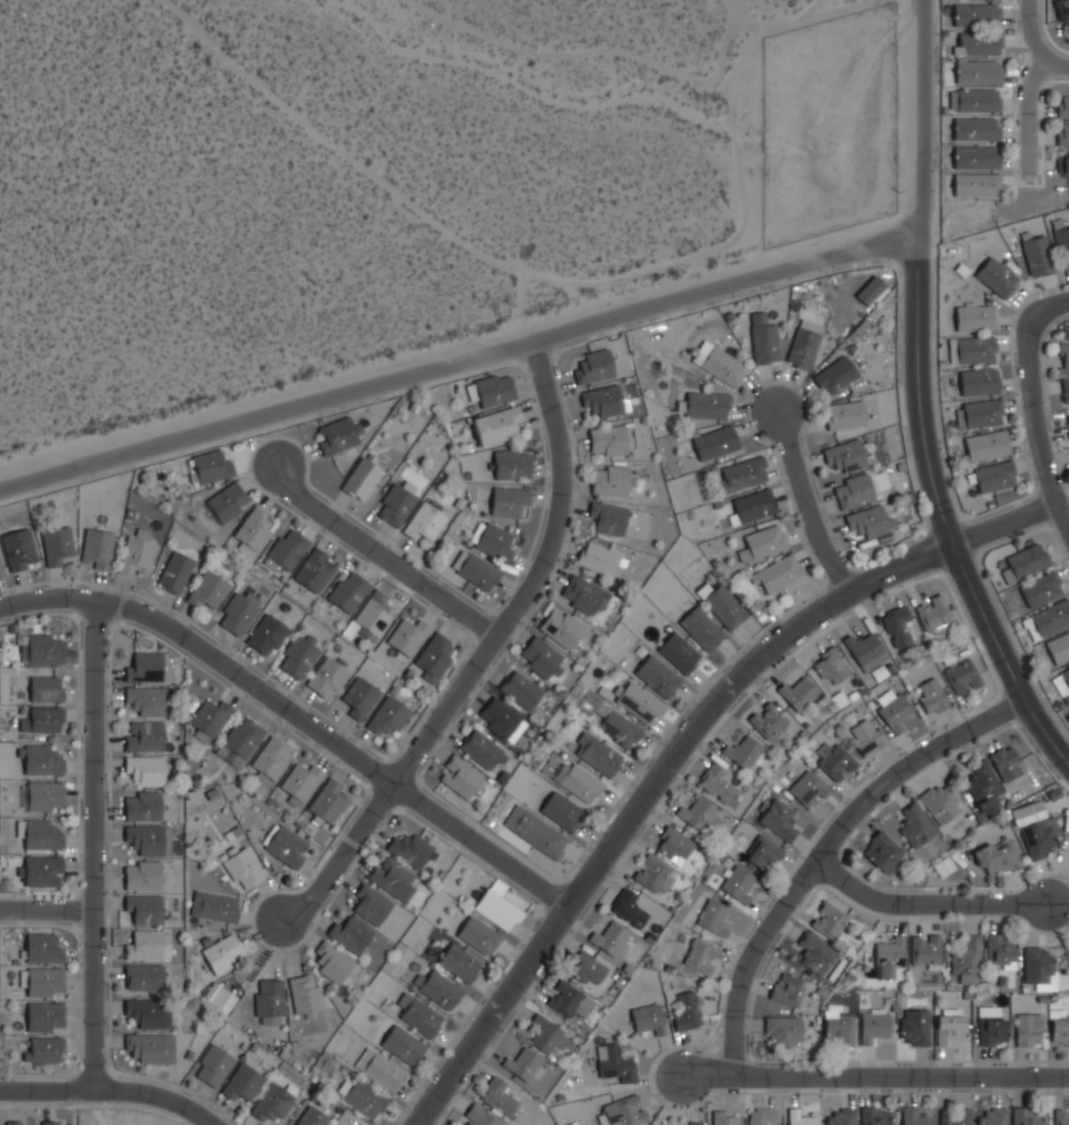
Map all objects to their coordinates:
building: (1065, 12)
building: (976, 16)
road: (1038, 33)
building: (978, 43)
road: (1060, 68)
building: (978, 73)
building: (978, 101)
building: (1062, 107)
road: (918, 116)
road: (1031, 119)
building: (976, 130)
building: (1062, 134)
building: (976, 158)
building: (1065, 161)
building: (976, 185)
building: (1062, 245)
building: (1038, 255)
building: (997, 276)
building: (872, 291)
road: (1047, 304)
building: (975, 316)
building: (764, 338)
building: (804, 343)
building: (973, 349)
road: (458, 351)
building: (1065, 354)
building: (724, 365)
building: (593, 366)
building: (836, 375)
building: (979, 382)
building: (493, 388)
building: (1065, 388)
building: (602, 399)
building: (707, 404)
building: (980, 413)
building: (845, 414)
building: (1068, 420)
road: (1039, 422)
building: (498, 425)
building: (339, 434)
building: (612, 439)
building: (715, 442)
building: (986, 445)
building: (845, 455)
building: (513, 463)
building: (212, 466)
building: (744, 473)
building: (363, 476)
building: (994, 476)
building: (610, 479)
building: (853, 490)
building: (227, 501)
building: (511, 501)
building: (397, 504)
building: (753, 506)
road: (810, 509)
road: (937, 513)
building: (609, 517)
building: (869, 520)
building: (425, 521)
building: (254, 529)
building: (496, 541)
building: (764, 541)
building: (58, 544)
building: (96, 548)
building: (20, 549)
building: (287, 550)
road: (385, 550)
building: (138, 554)
building: (599, 558)
building: (1026, 560)
building: (1, 570)
building: (316, 570)
building: (476, 570)
building: (175, 571)
building: (777, 574)
building: (1041, 588)
building: (208, 590)
building: (349, 591)
building: (584, 594)
building: (723, 604)
building: (238, 612)
building: (934, 614)
building: (374, 616)
building: (1048, 619)
building: (561, 626)
building: (898, 626)
building: (702, 627)
building: (267, 636)
building: (409, 636)
road: (483, 646)
building: (1059, 648)
building: (45, 649)
building: (866, 649)
building: (680, 651)
building: (299, 656)
building: (434, 657)
building: (542, 657)
building: (831, 666)
building: (145, 667)
building: (880, 672)
building: (659, 676)
building: (963, 676)
building: (328, 678)
building: (1063, 680)
building: (47, 688)
building: (521, 690)
building: (798, 692)
building: (930, 695)
building: (360, 696)
building: (149, 700)
building: (639, 701)
building: (895, 712)
road: (297, 713)
building: (389, 714)
building: (43, 718)
building: (211, 718)
building: (500, 719)
building: (767, 719)
building: (611, 720)
building: (144, 734)
building: (867, 736)
building: (243, 738)
road: (678, 746)
building: (482, 751)
building: (744, 752)
building: (598, 753)
building: (273, 758)
building: (41, 759)
building: (1007, 761)
building: (837, 762)
building: (145, 769)
building: (460, 776)
building: (579, 781)
building: (719, 781)
building: (302, 782)
building: (983, 786)
building: (807, 787)
building: (45, 795)
building: (328, 800)
building: (940, 801)
building: (143, 804)
building: (562, 810)
building: (698, 812)
building: (780, 819)
building: (916, 824)
building: (1035, 829)
building: (536, 831)
building: (41, 834)
building: (150, 838)
building: (674, 843)
building: (286, 844)
road: (94, 845)
building: (411, 849)
road: (816, 850)
building: (882, 850)
building: (761, 853)
building: (998, 857)
building: (944, 865)
building: (243, 866)
building: (43, 871)
building: (654, 873)
building: (143, 874)
building: (394, 878)
building: (737, 884)
building: (373, 904)
building: (215, 905)
road: (918, 906)
building: (145, 908)
building: (631, 908)
building: (499, 909)
road: (47, 910)
building: (713, 916)
building: (828, 920)
building: (349, 934)
building: (479, 934)
building: (610, 937)
building: (149, 944)
building: (42, 947)
building: (928, 949)
building: (1001, 950)
building: (814, 952)
building: (224, 953)
building: (701, 955)
building: (890, 955)
building: (967, 960)
building: (334, 962)
building: (460, 962)
building: (1039, 966)
building: (588, 969)
building: (144, 975)
building: (44, 982)
building: (786, 987)
building: (439, 989)
building: (305, 994)
building: (271, 996)
building: (218, 997)
building: (564, 999)
building: (688, 1010)
building: (147, 1012)
building: (420, 1015)
building: (45, 1016)
building: (649, 1017)
building: (873, 1024)
building: (915, 1026)
building: (950, 1026)
building: (991, 1027)
building: (1029, 1028)
building: (838, 1030)
building: (783, 1031)
building: (1060, 1031)
building: (546, 1037)
building: (403, 1044)
building: (151, 1047)
building: (44, 1050)
building: (615, 1062)
building: (526, 1063)
building: (214, 1064)
building: (380, 1068)
building: (243, 1080)
road: (869, 1083)
road: (109, 1092)
building: (499, 1095)
building: (364, 1096)
building: (274, 1099)
building: (627, 1111)
building: (875, 1115)
building: (915, 1115)
building: (1027, 1115)
building: (1061, 1115)
building: (313, 1116)
building: (762, 1116)
building: (798, 1116)
building: (841, 1116)
building: (956, 1116)
building: (992, 1116)
building: (485, 1117)
building: (725, 1117)
building: (16, 1122)
building: (53, 1122)
building: (694, 1123)
building: (340, 1124)

